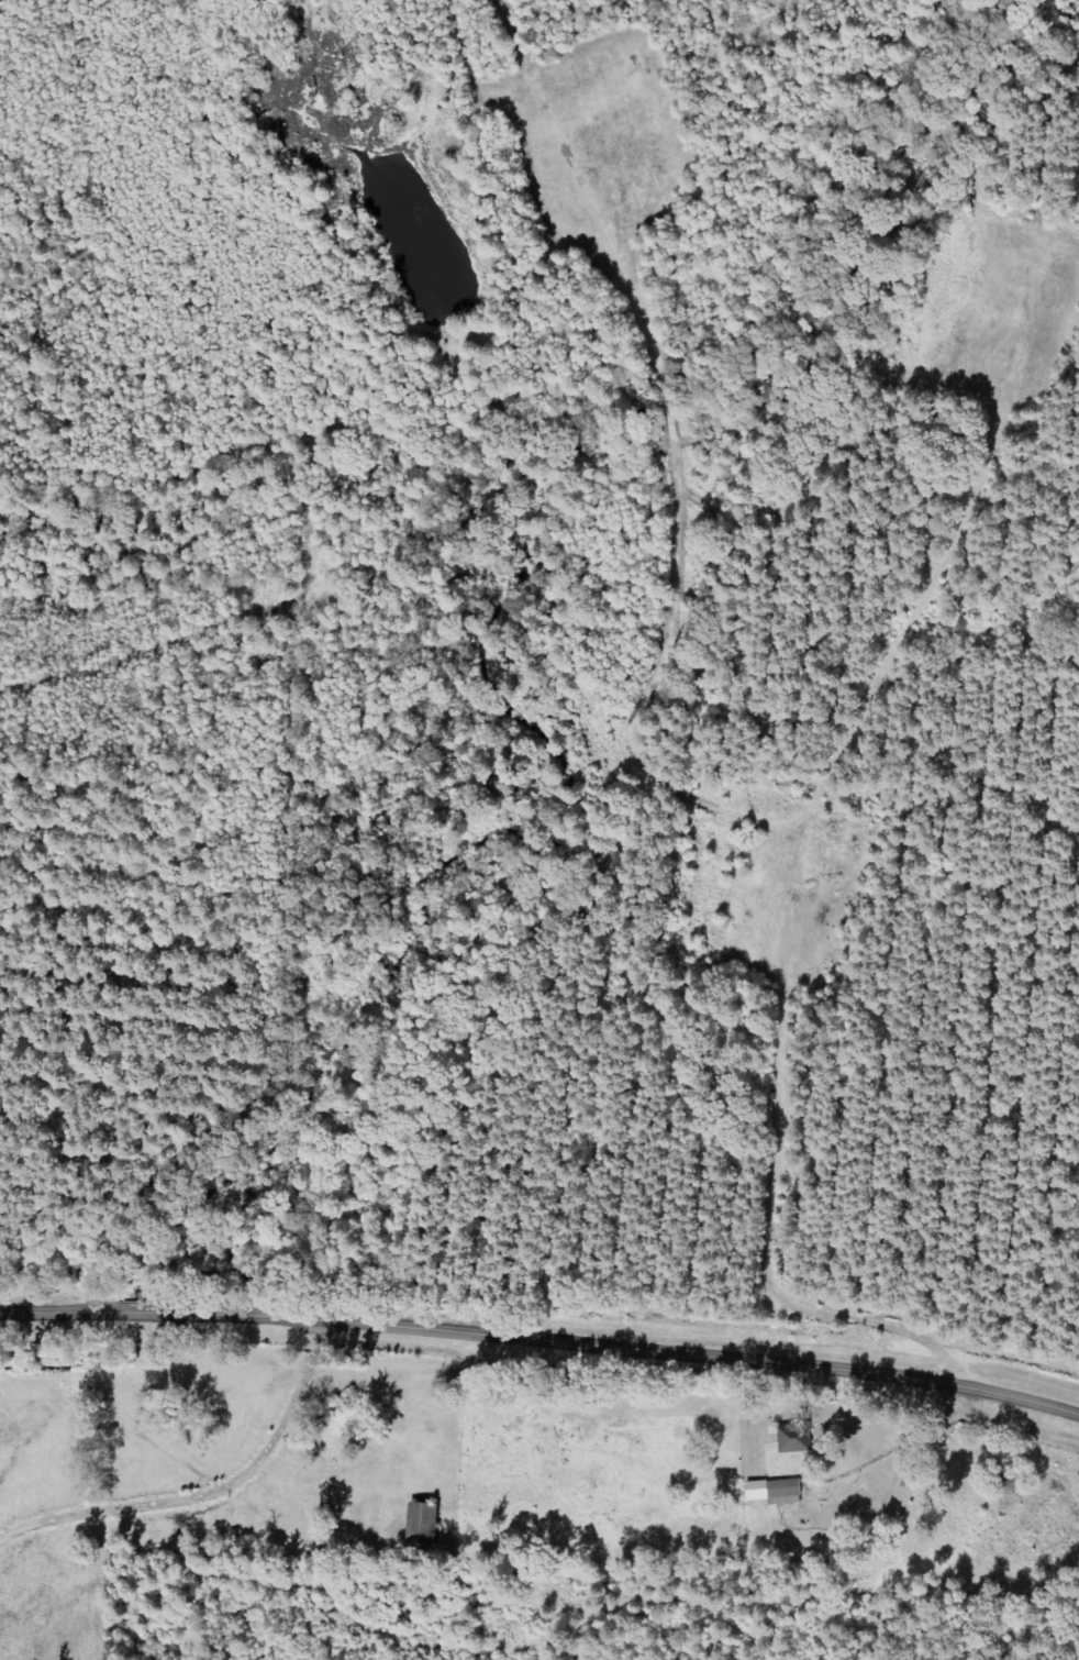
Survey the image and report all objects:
road: (542, 1339)
building: (790, 1438)
building: (771, 1491)
building: (419, 1521)

